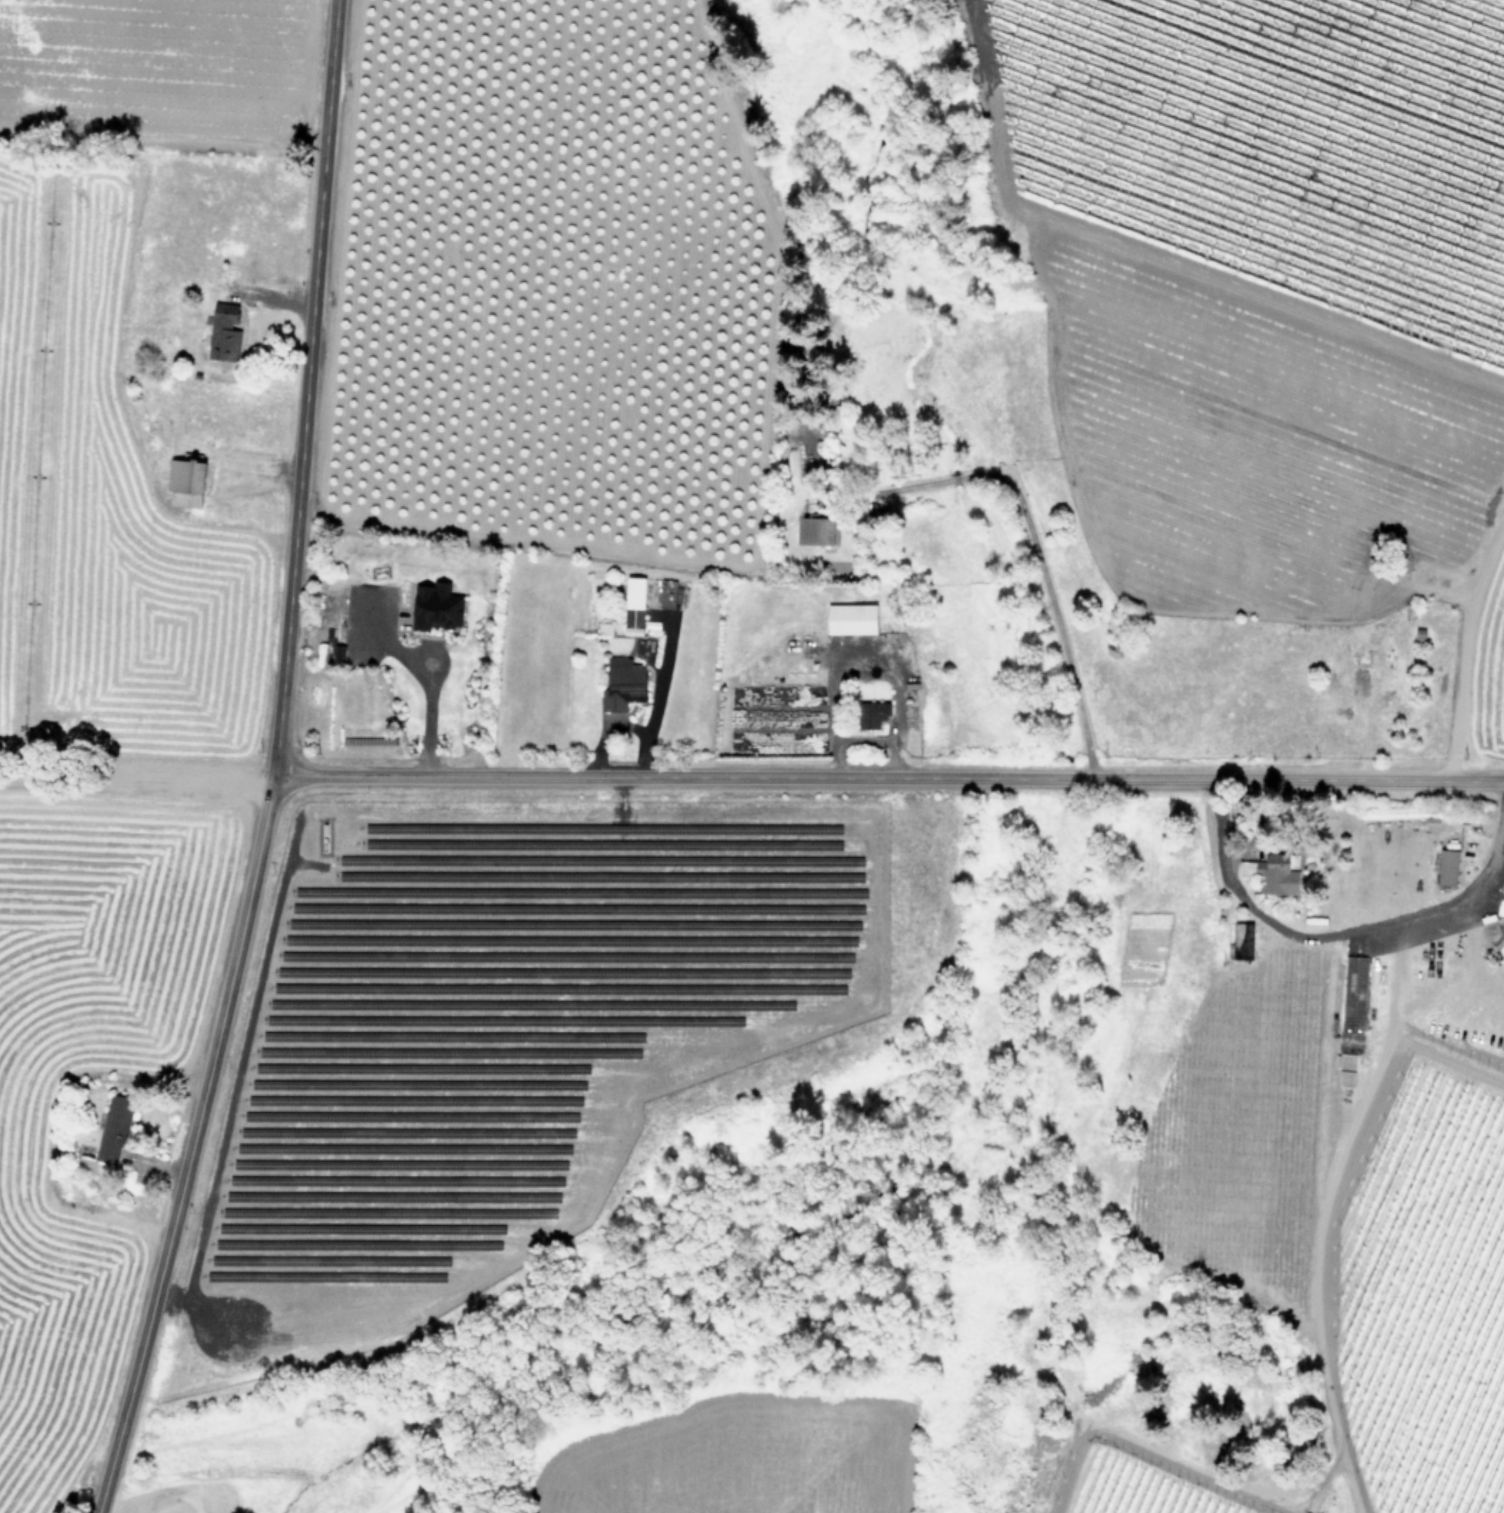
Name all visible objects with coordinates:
building: (226, 334)
crop: (1272, 357)
building: (188, 483)
road: (1023, 518)
building: (818, 534)
building: (239, 587)
crop: (120, 590)
building: (438, 609)
building: (855, 621)
building: (635, 623)
road: (425, 683)
building: (625, 686)
road: (653, 697)
building: (874, 717)
road: (274, 765)
road: (889, 778)
building: (1445, 867)
building: (1270, 872)
road: (1345, 932)
building: (1240, 941)
crop: (523, 1032)
building: (115, 1133)
crop: (1364, 1187)
crop: (734, 1462)
crop: (1139, 1490)

